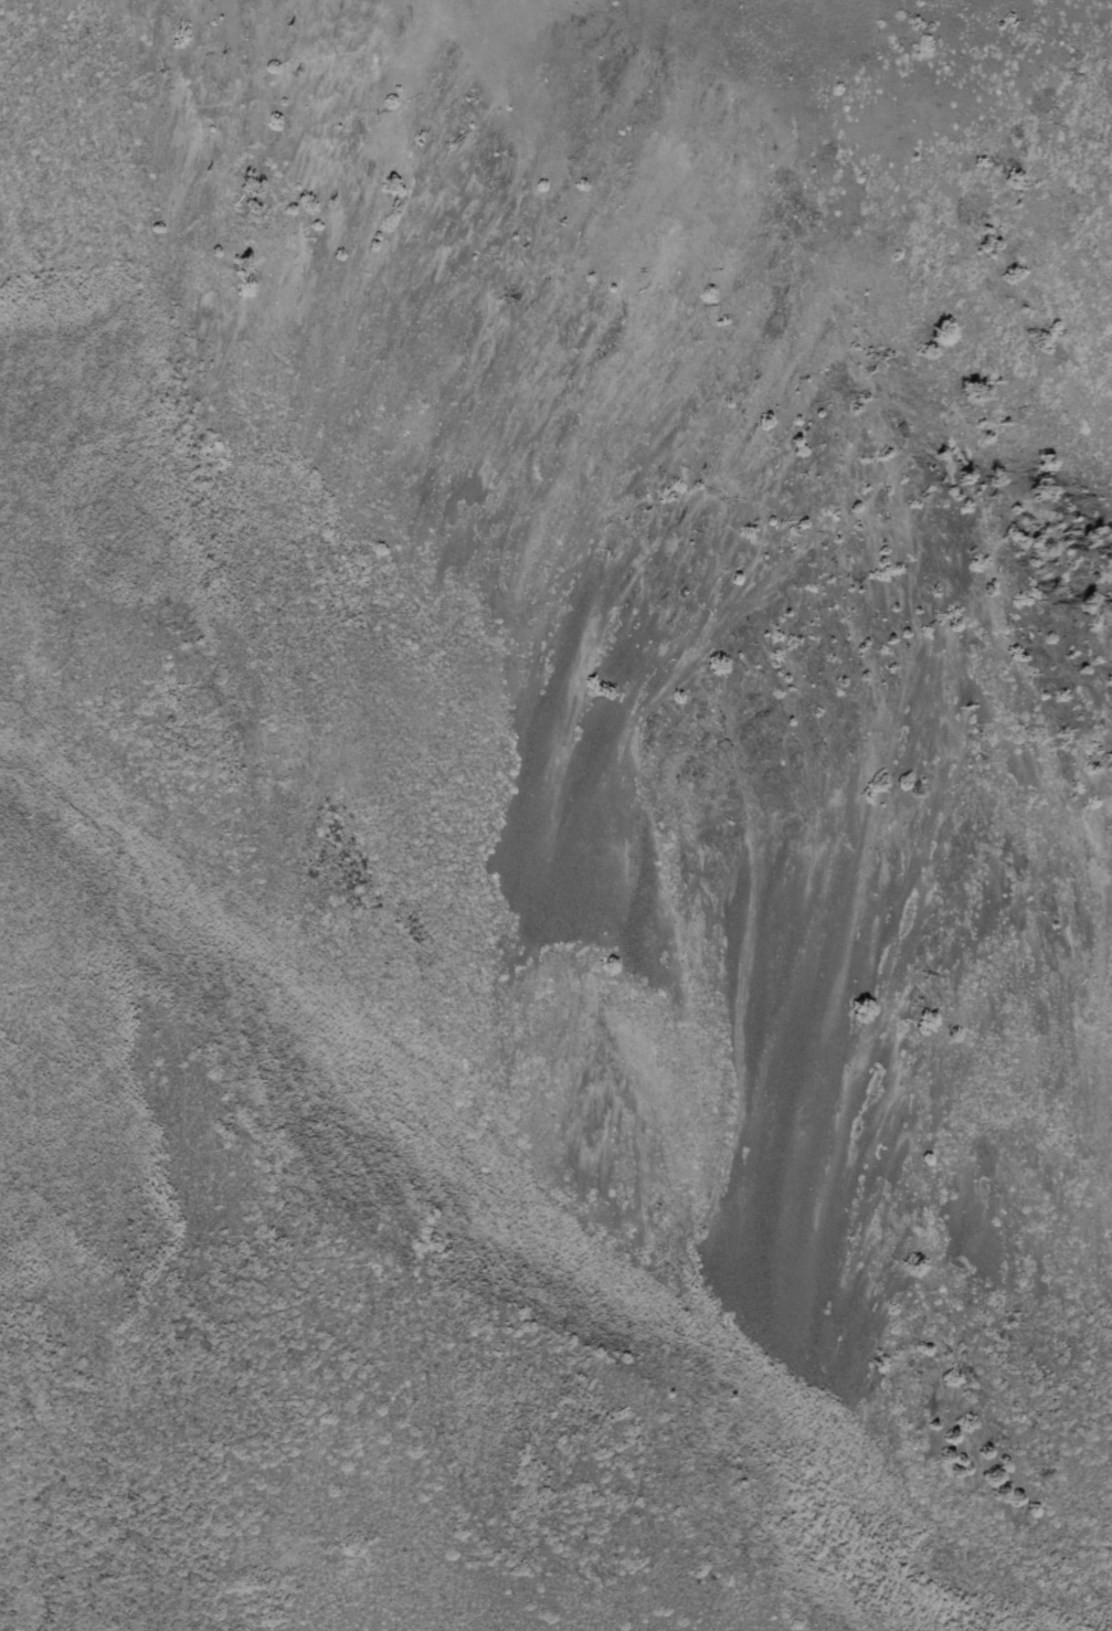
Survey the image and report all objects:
road: (17, 20)
road: (0, 926)
road: (348, 1387)

